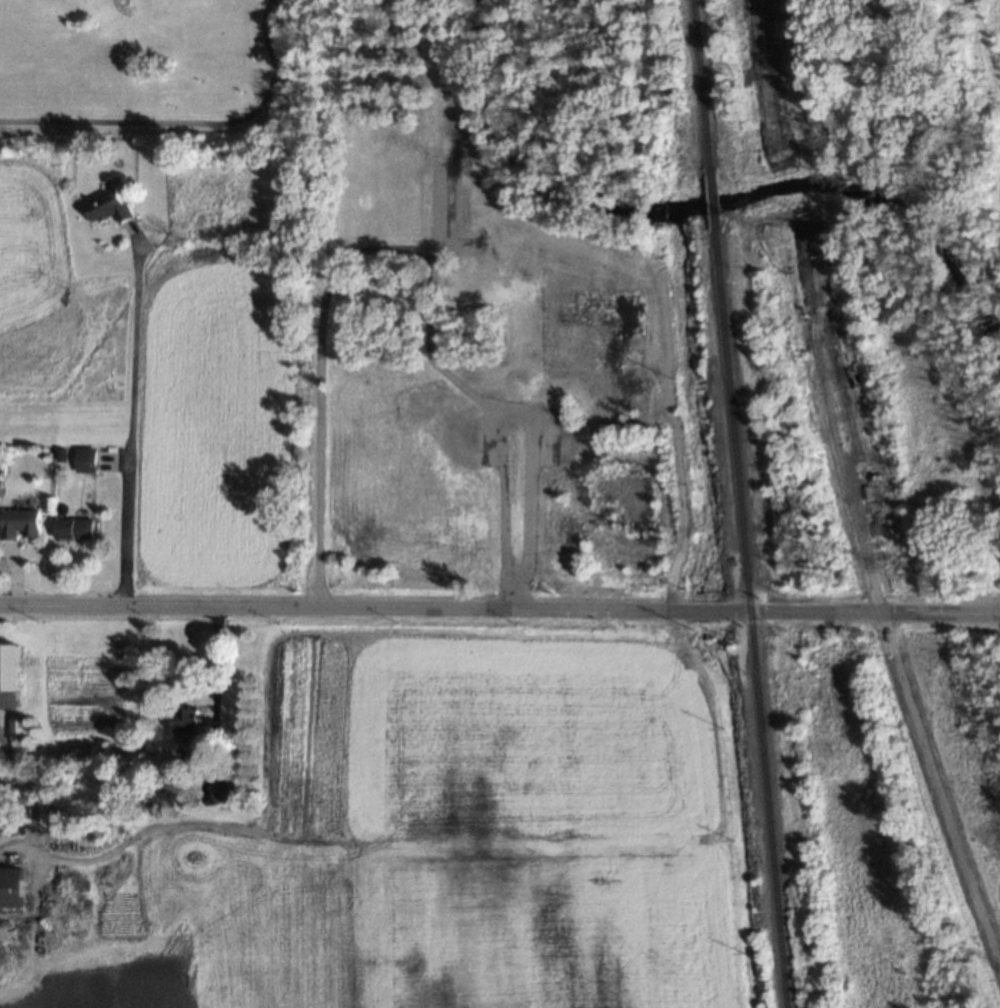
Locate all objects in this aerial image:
building: (388, 24)
building: (388, 51)
park: (153, 65)
building: (388, 78)
railway: (701, 83)
building: (388, 104)
road: (187, 122)
building: (388, 130)
building: (87, 150)
building: (388, 157)
building: (387, 183)
building: (474, 194)
railway: (711, 197)
building: (109, 207)
river: (699, 213)
building: (388, 217)
park: (925, 248)
building: (450, 272)
building: (559, 310)
building: (60, 454)
building: (86, 459)
road: (128, 465)
building: (2, 468)
building: (20, 522)
building: (75, 528)
road: (499, 610)
railway: (751, 617)
road: (217, 671)
building: (9, 676)
park: (979, 697)
building: (187, 720)
building: (18, 729)
building: (224, 788)
crop: (416, 837)
park: (867, 837)
building: (11, 887)

